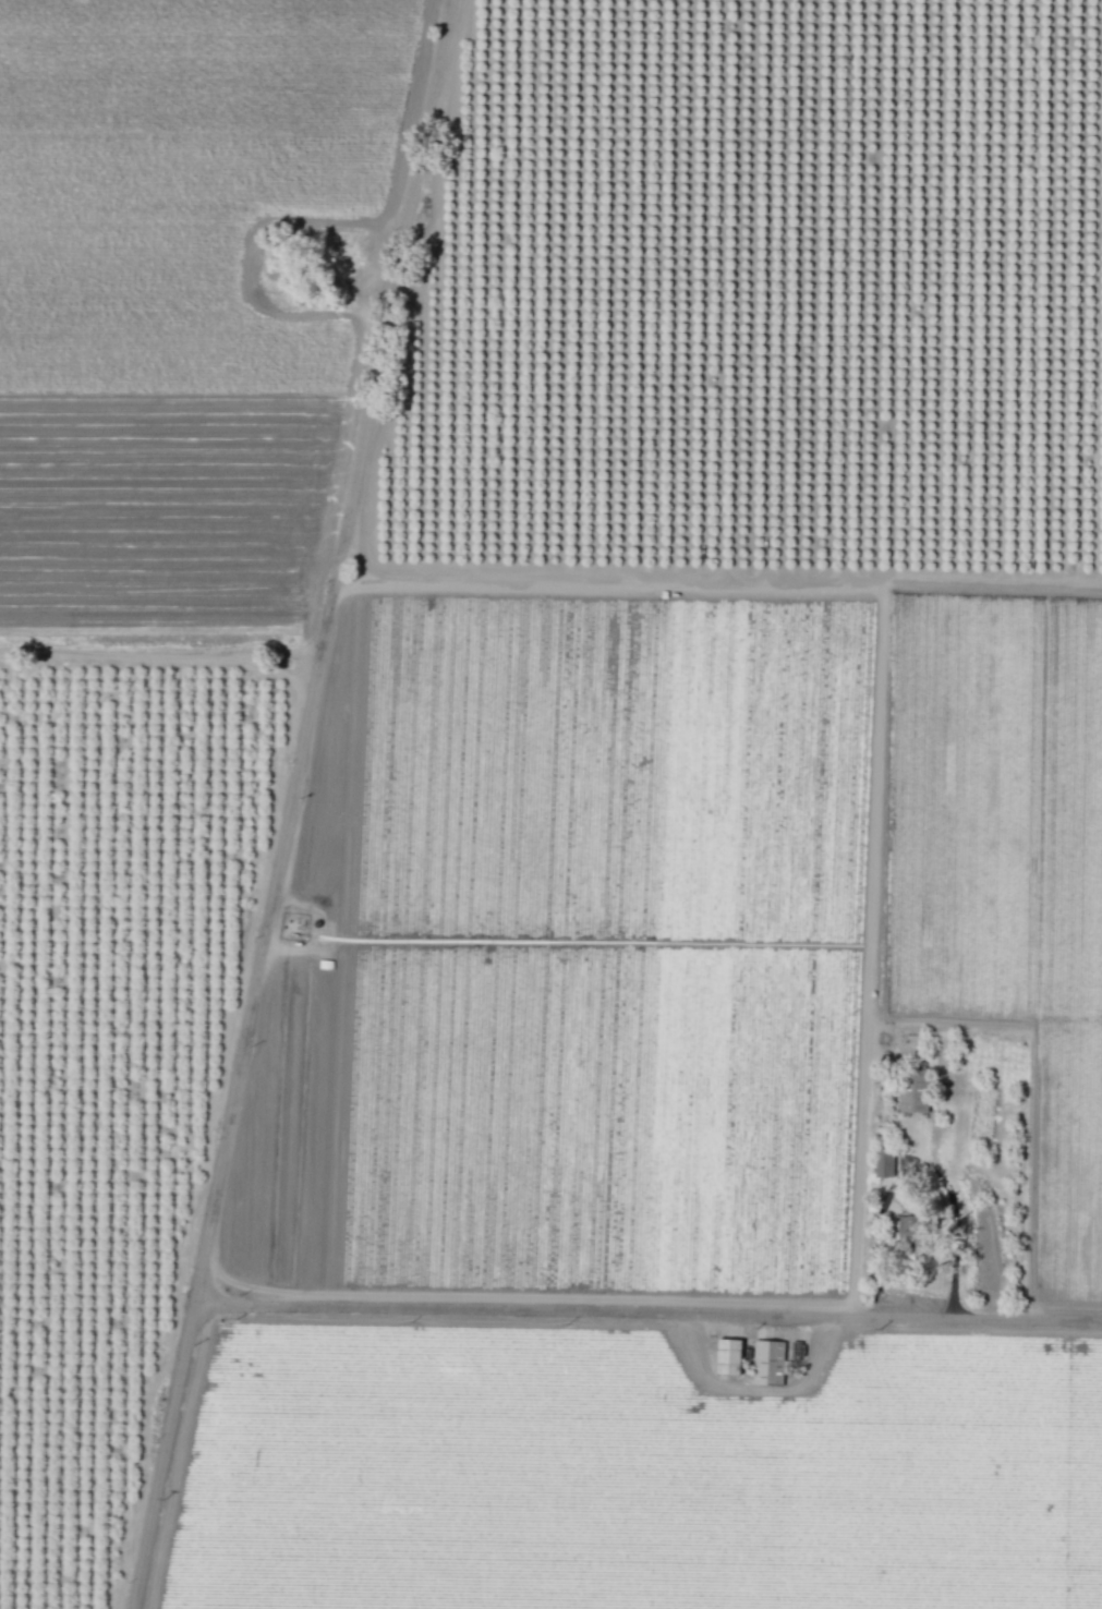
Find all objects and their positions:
road: (290, 803)
building: (912, 1106)
building: (883, 1164)
road: (649, 1312)
building: (728, 1357)
building: (767, 1363)

